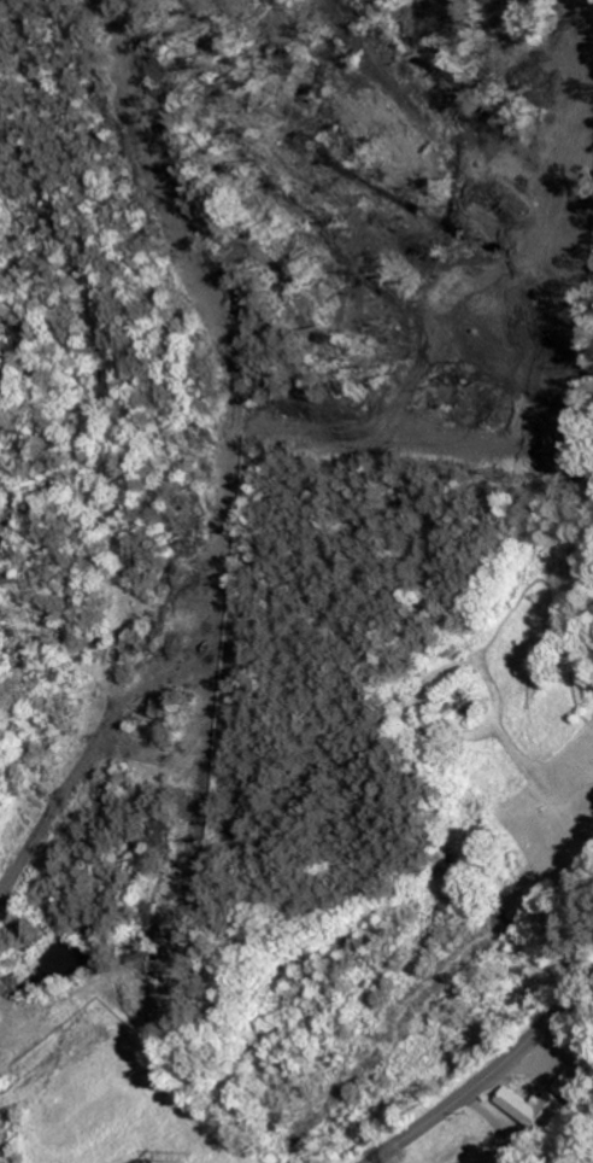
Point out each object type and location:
road: (485, 1075)
building: (575, 1088)
building: (536, 1108)
road: (466, 1122)
power tower: (187, 1157)
building: (141, 1161)

